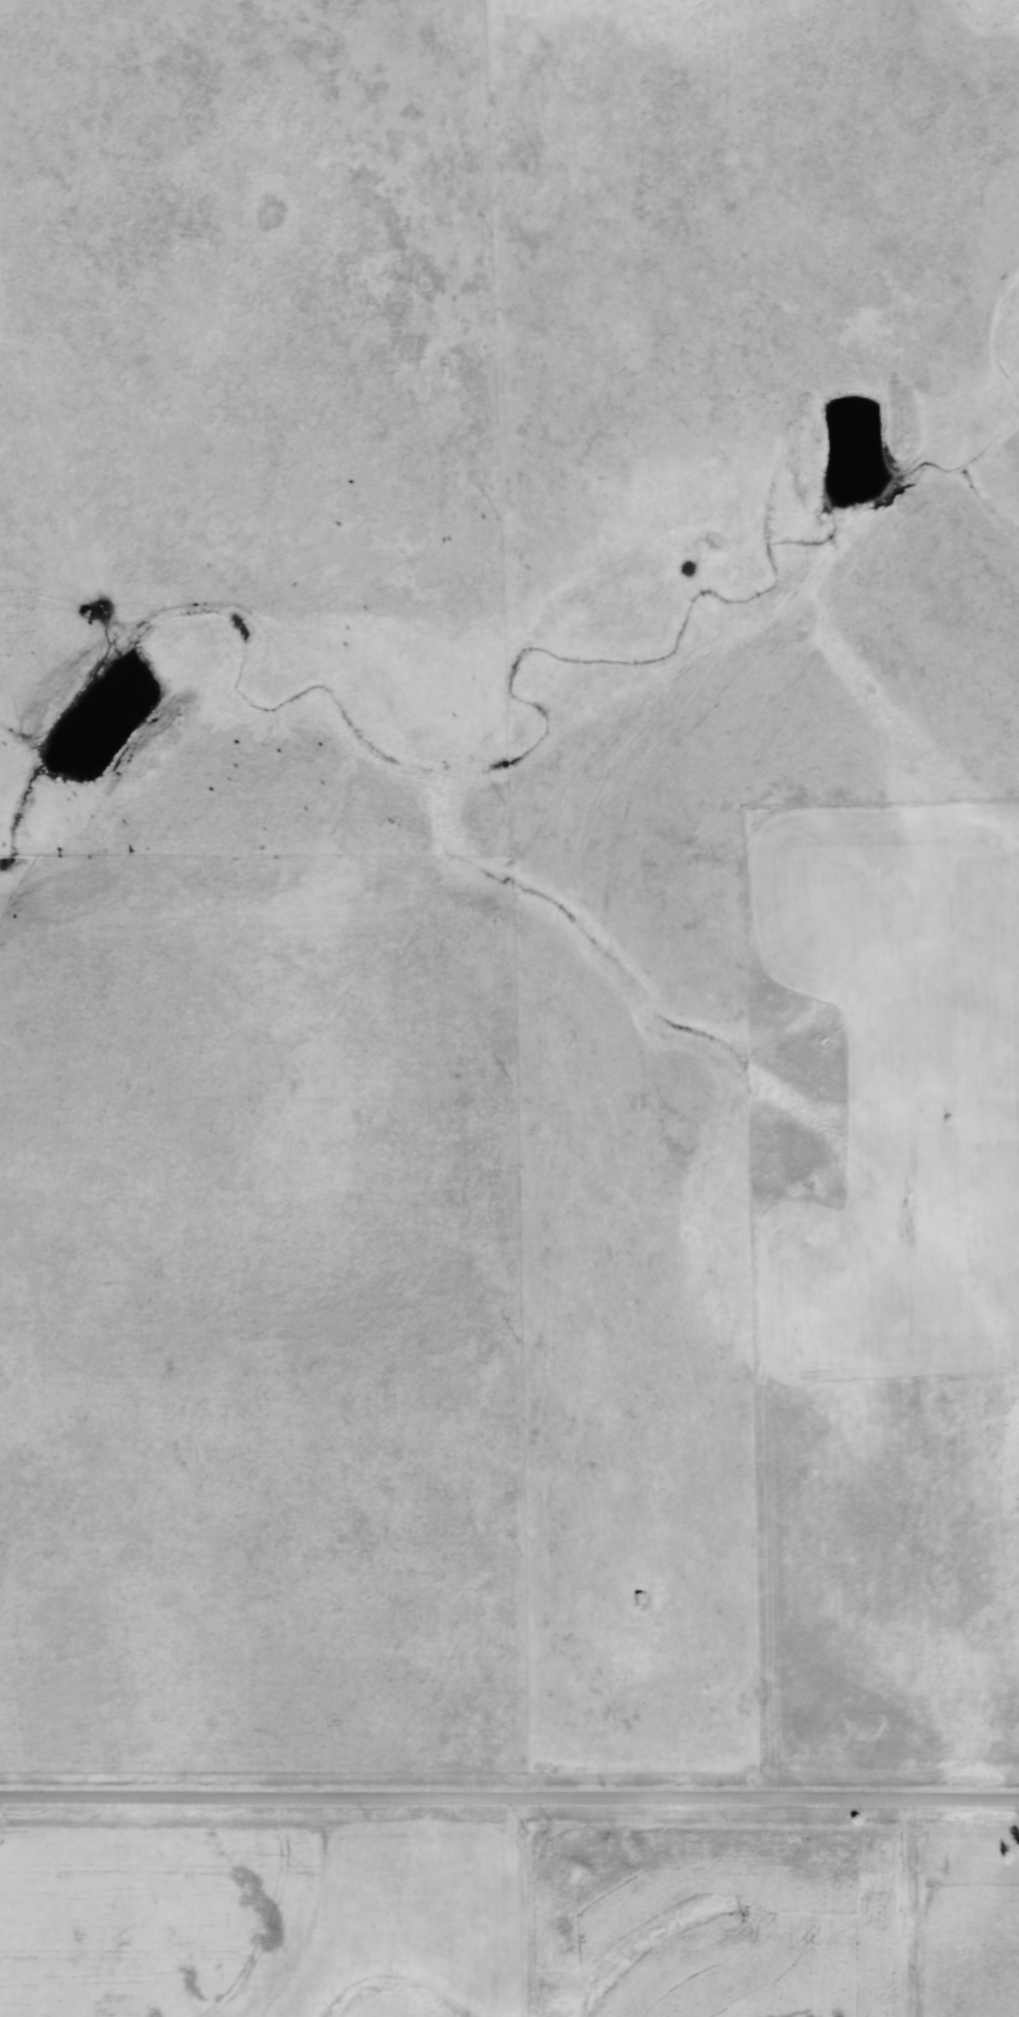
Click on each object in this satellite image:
road: (509, 1794)

